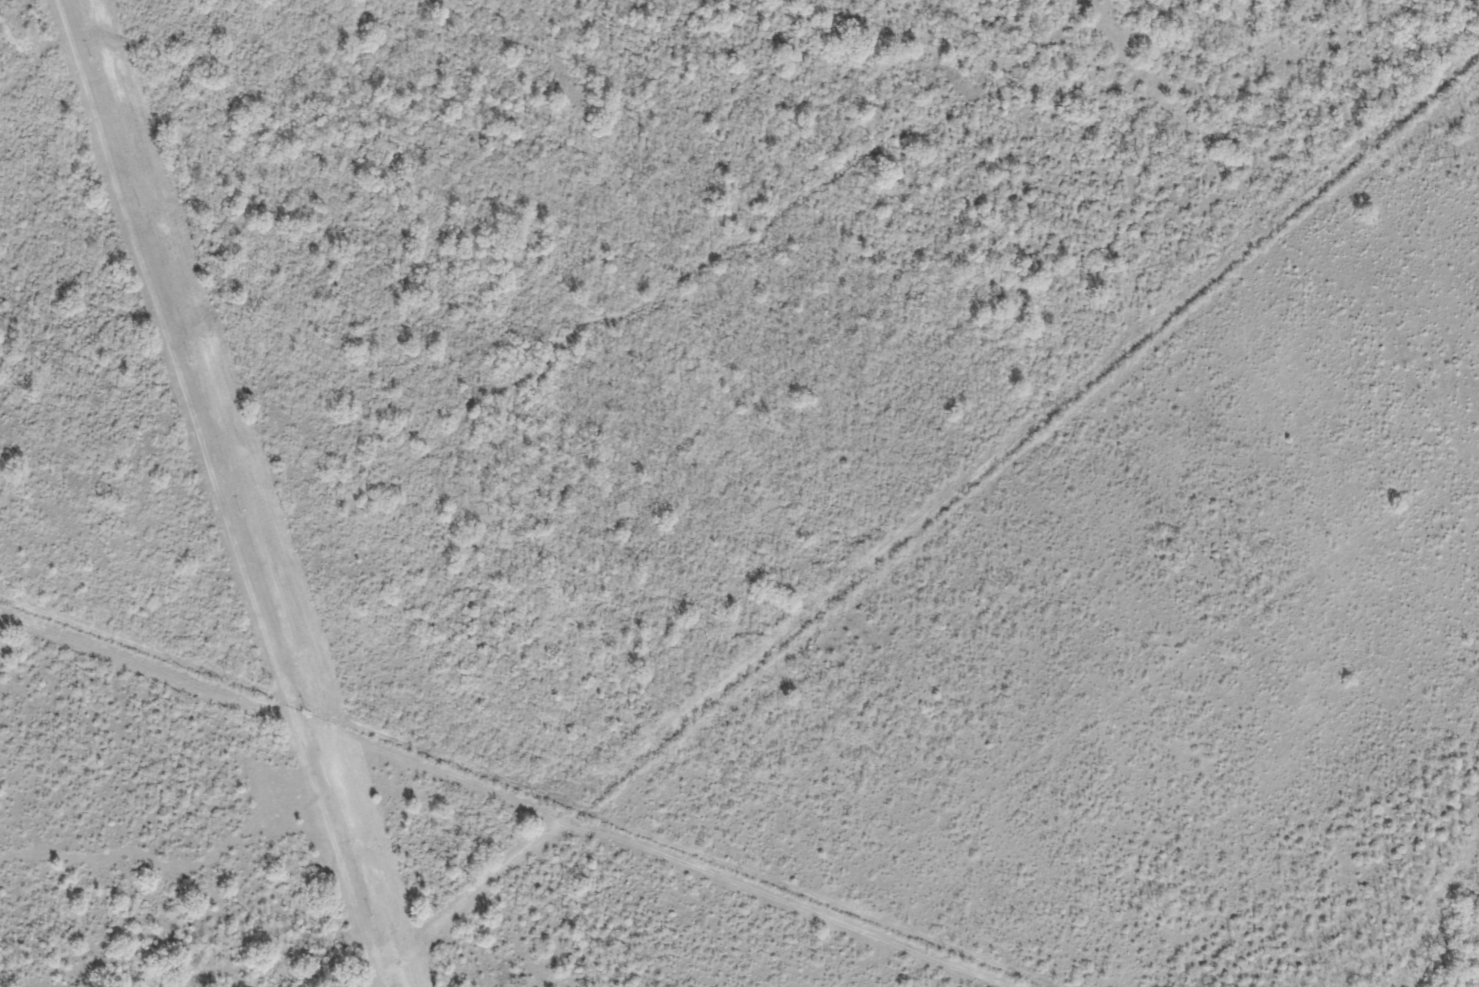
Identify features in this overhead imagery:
road: (1026, 430)
road: (679, 848)

